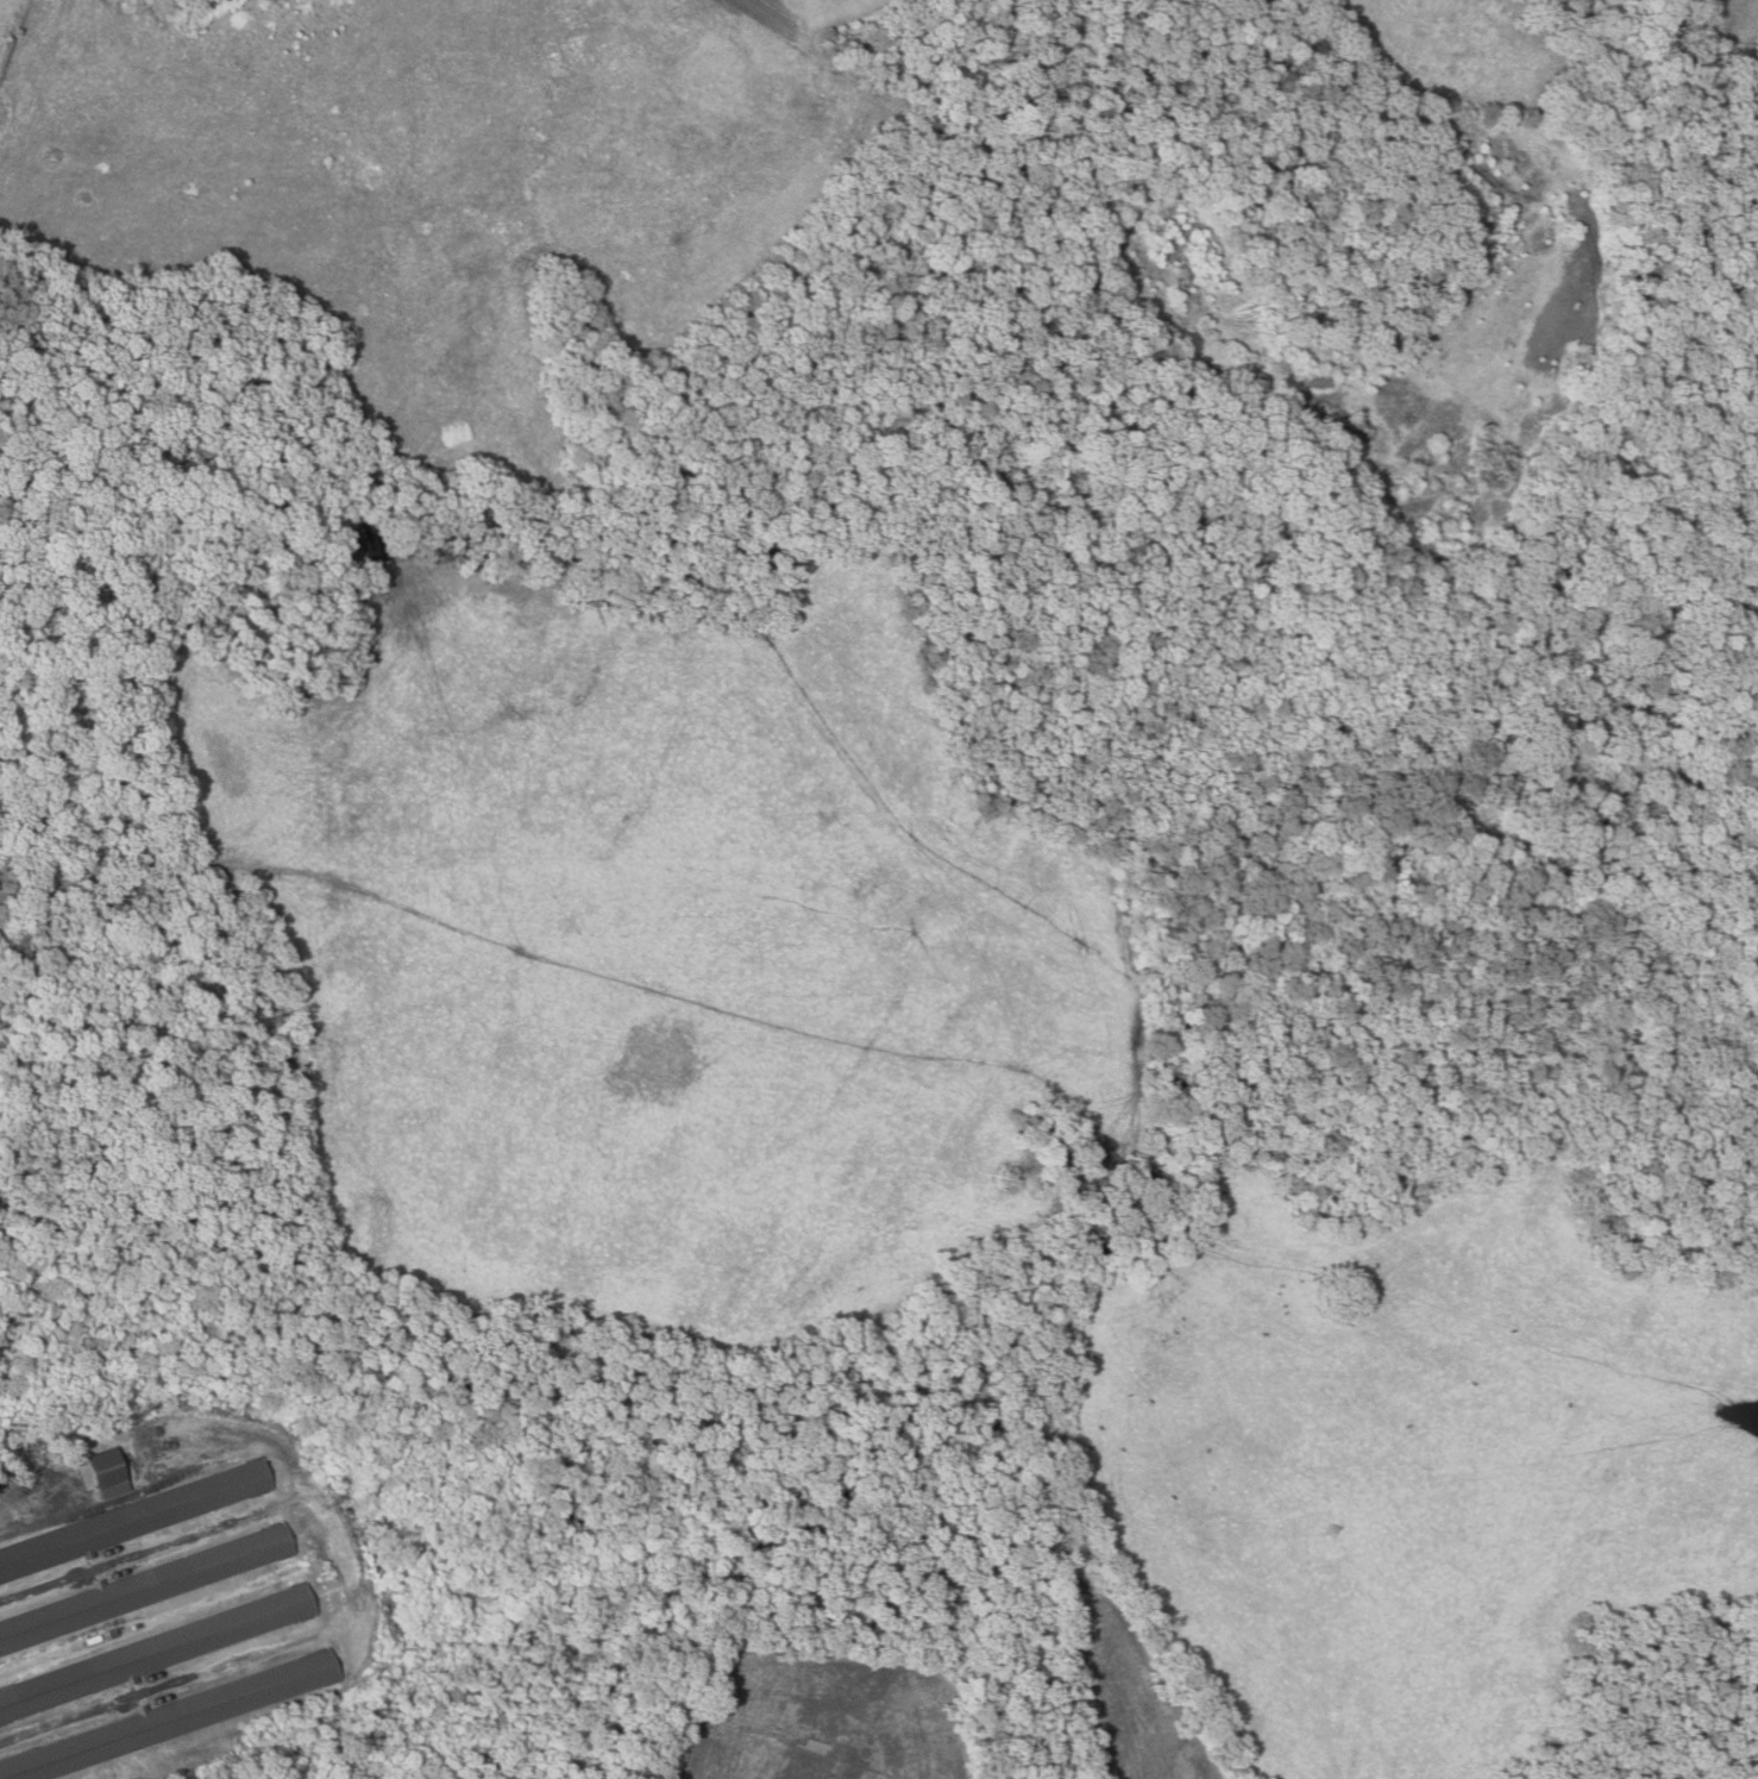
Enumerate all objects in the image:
building: (105, 1476)
building: (134, 1518)
building: (145, 1587)
building: (156, 1652)
crop: (1123, 1686)
building: (172, 1717)
crop: (830, 1721)

